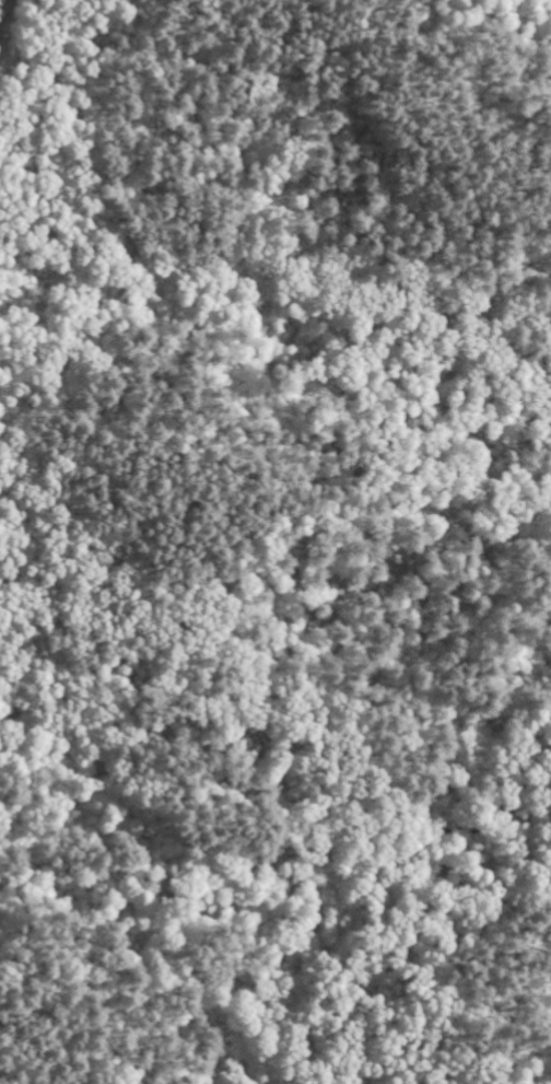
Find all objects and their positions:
road: (2, 8)

